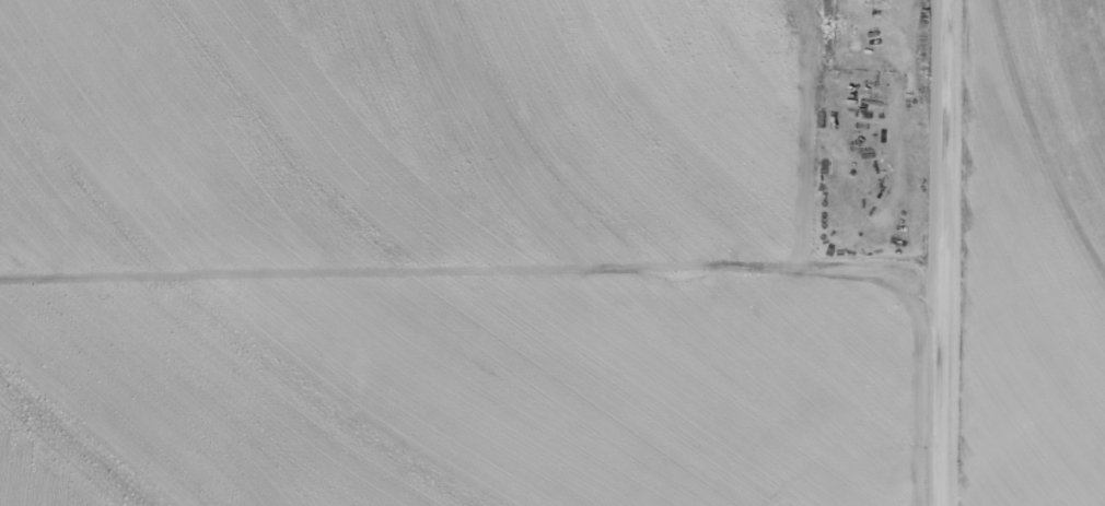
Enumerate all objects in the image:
road: (943, 252)

